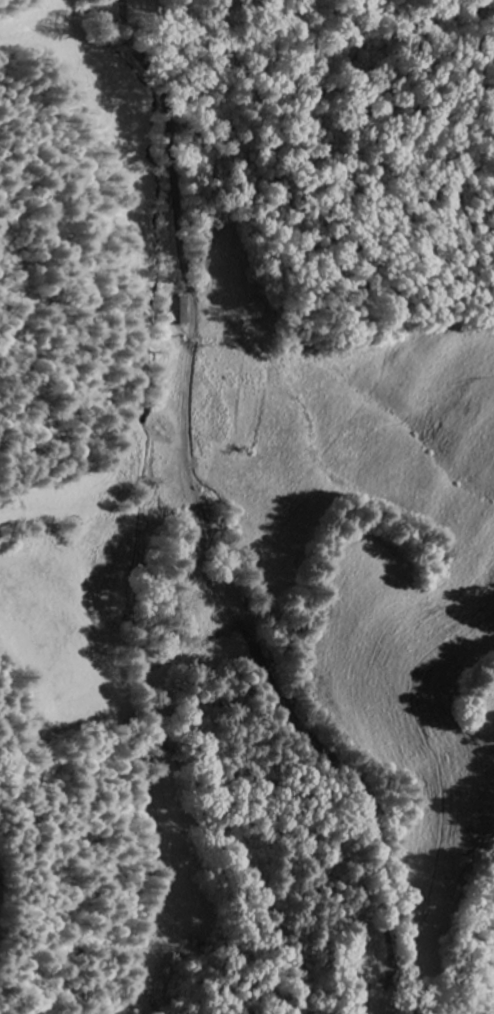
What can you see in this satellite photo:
building: (177, 312)

